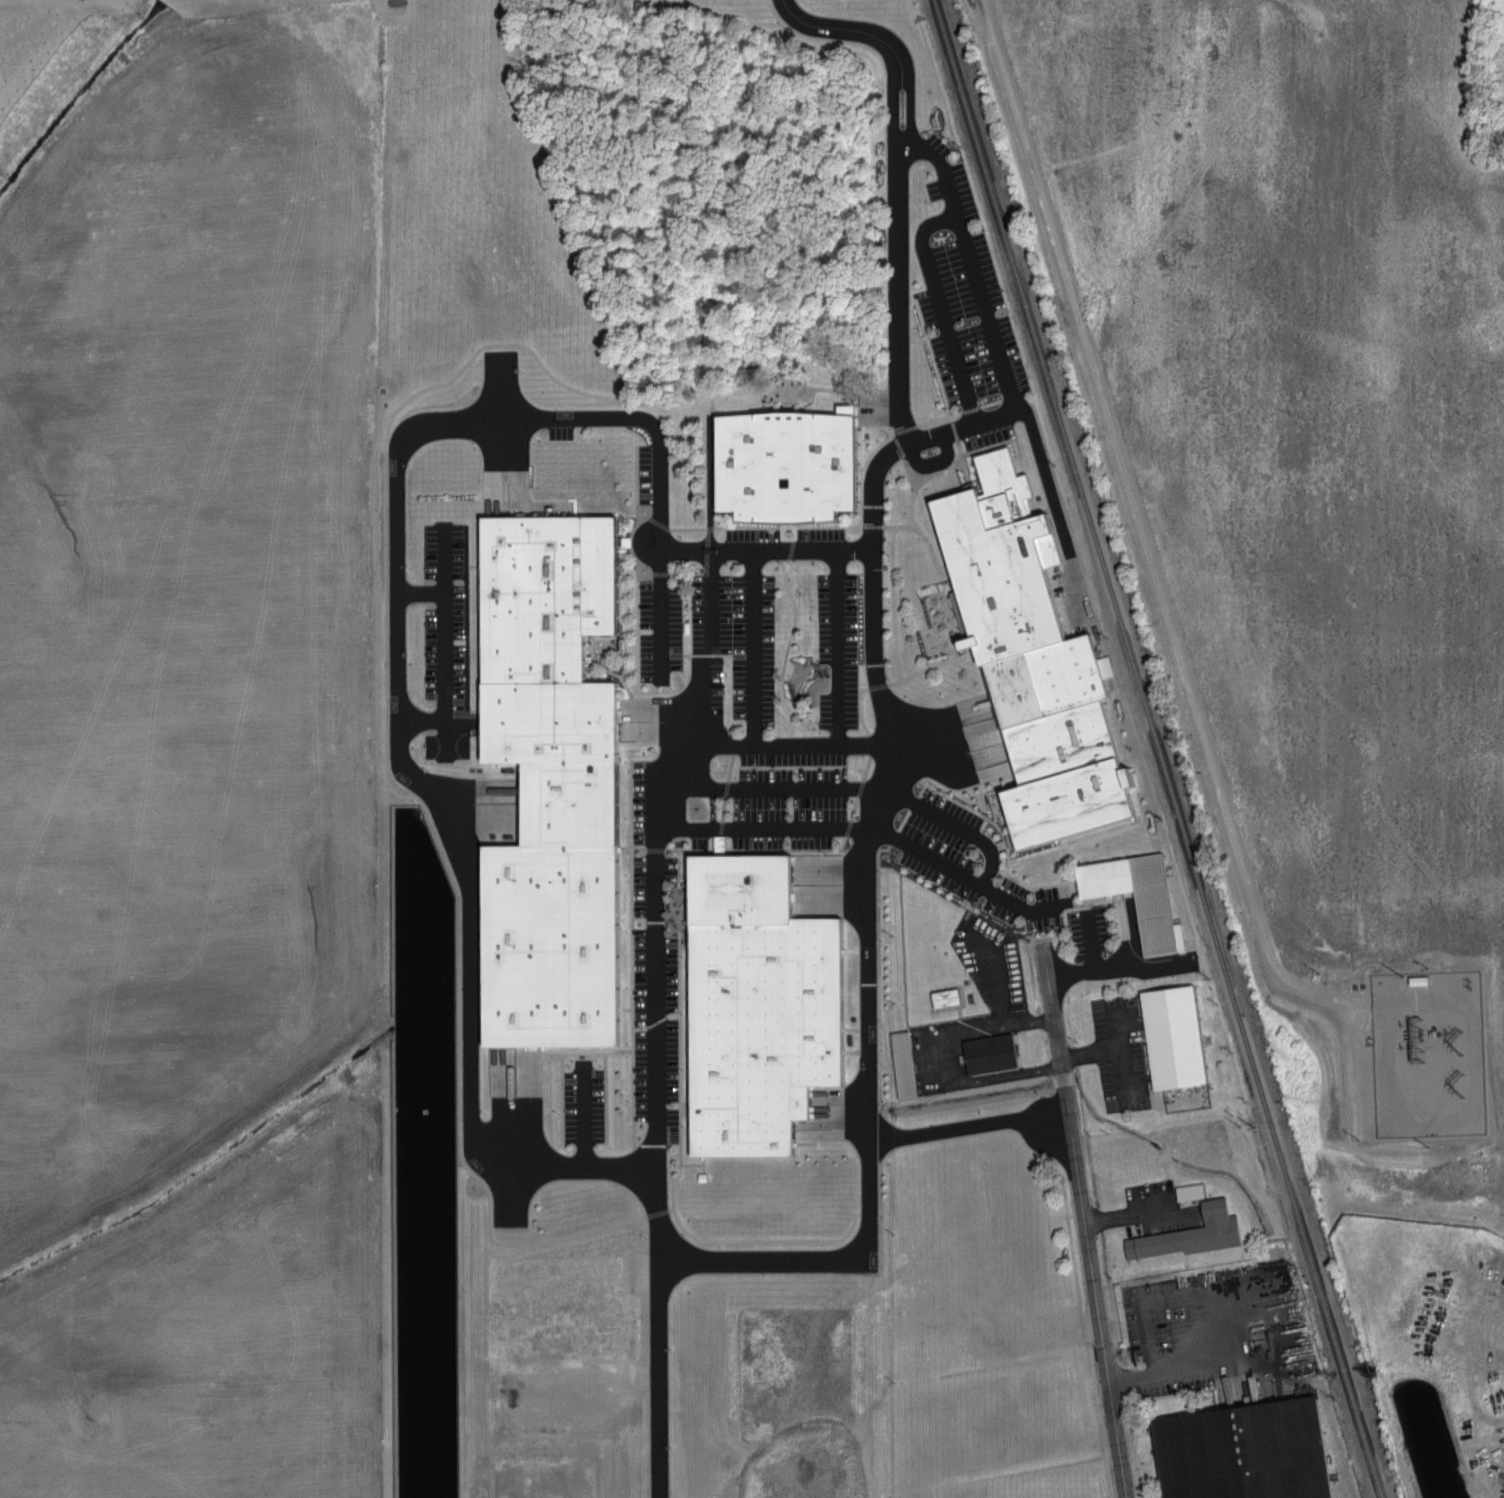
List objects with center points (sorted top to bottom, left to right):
road: (932, 225)
road: (973, 263)
road: (948, 336)
road: (902, 381)
road: (946, 403)
road: (949, 416)
road: (956, 431)
road: (502, 436)
road: (657, 436)
road: (1000, 442)
building: (793, 466)
road: (861, 467)
road: (862, 474)
road: (966, 474)
road: (712, 482)
road: (648, 507)
road: (1058, 516)
road: (787, 527)
road: (878, 527)
road: (675, 528)
road: (893, 545)
road: (931, 548)
road: (638, 561)
road: (651, 571)
road: (701, 573)
road: (421, 591)
building: (1016, 593)
road: (663, 615)
parking lot: (768, 631)
building: (555, 640)
road: (443, 643)
road: (755, 649)
road: (839, 649)
road: (788, 650)
road: (706, 654)
road: (713, 661)
road: (910, 675)
road: (667, 721)
road: (946, 730)
crop: (181, 734)
railway: (1158, 749)
road: (971, 750)
road: (686, 758)
road: (392, 774)
road: (681, 786)
road: (811, 787)
road: (727, 798)
road: (856, 802)
road: (894, 806)
road: (665, 830)
road: (770, 830)
road: (464, 840)
building: (719, 842)
road: (649, 848)
road: (756, 849)
road: (624, 853)
road: (681, 864)
building: (1128, 877)
road: (1082, 904)
road: (633, 906)
building: (557, 915)
road: (658, 952)
road: (1088, 959)
building: (1417, 979)
road: (998, 992)
building: (756, 1004)
road: (879, 1025)
parking lot: (978, 1027)
building: (1181, 1039)
road: (869, 1044)
road: (584, 1051)
power substation: (1427, 1052)
parking lot: (1123, 1053)
building: (998, 1055)
road: (1093, 1056)
road: (1124, 1060)
road: (944, 1062)
building: (902, 1064)
road: (680, 1070)
road: (635, 1084)
road: (969, 1122)
road: (1073, 1139)
road: (696, 1164)
building: (1195, 1194)
road: (633, 1207)
parking lot: (1153, 1213)
road: (1126, 1220)
building: (1195, 1237)
road: (719, 1244)
road: (722, 1260)
road: (1193, 1294)
road: (1224, 1319)
parking lot: (1219, 1343)
road: (659, 1374)
road: (1217, 1383)
building: (1256, 1454)

